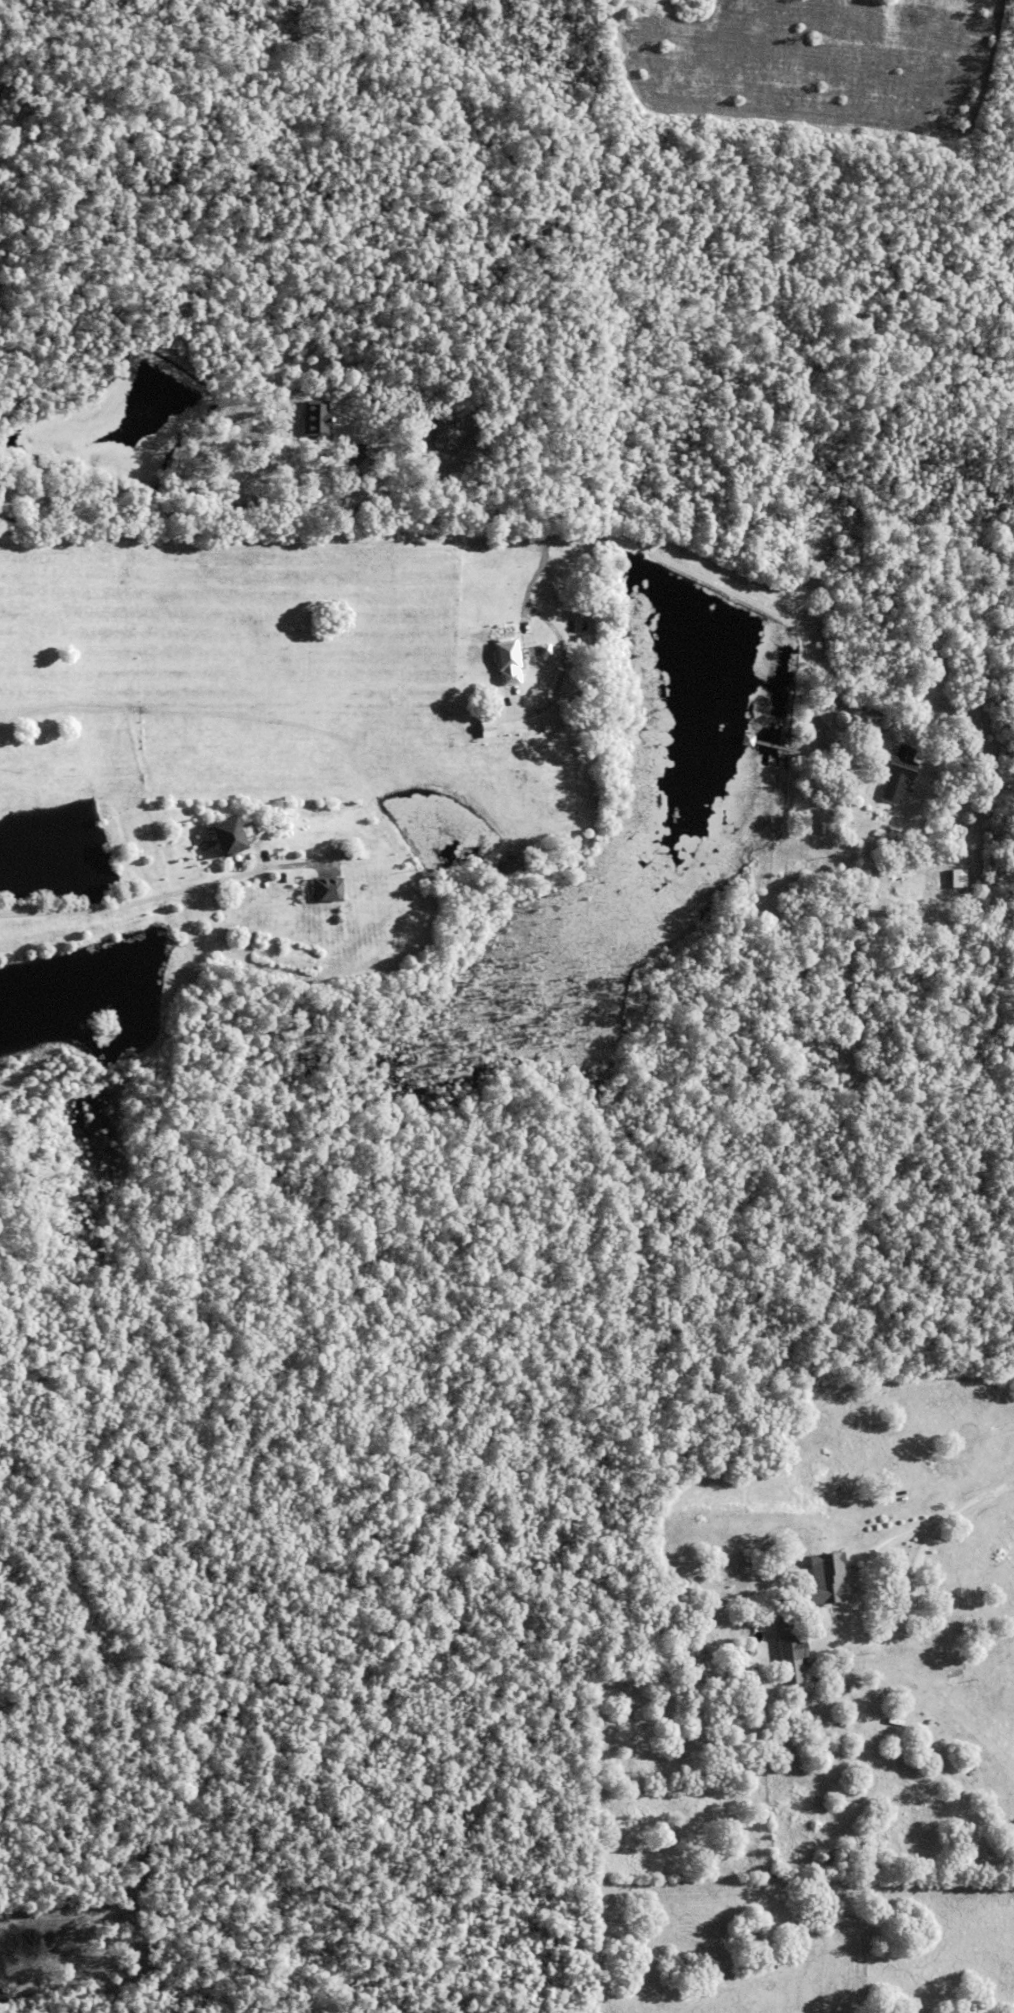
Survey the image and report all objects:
building: (315, 414)
building: (447, 432)
building: (360, 454)
building: (345, 463)
road: (542, 540)
building: (507, 659)
building: (745, 736)
building: (898, 770)
building: (923, 770)
building: (227, 831)
building: (358, 852)
building: (958, 875)
building: (325, 887)
road: (159, 894)
road: (979, 1498)
building: (825, 1577)
road: (851, 1635)
building: (789, 1649)
building: (637, 1713)
building: (855, 1846)

